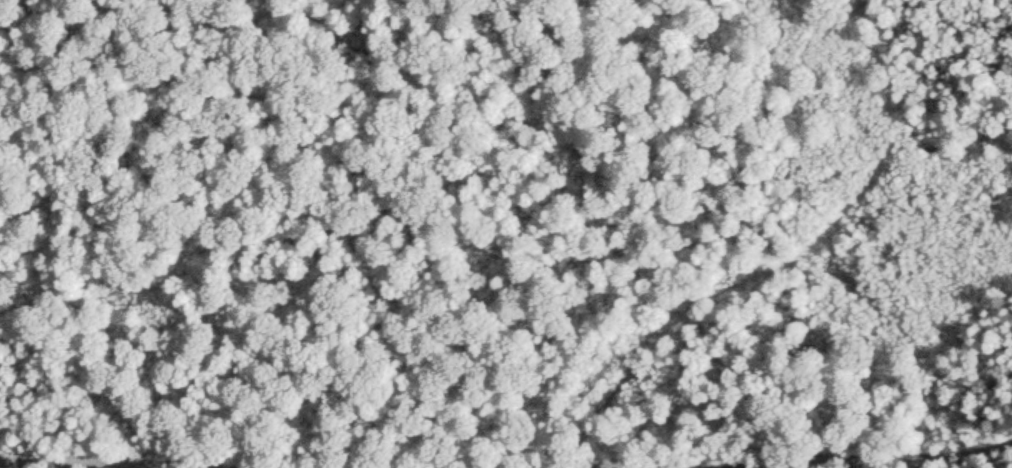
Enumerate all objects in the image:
park: (506, 234)
road: (86, 464)
road: (802, 464)

